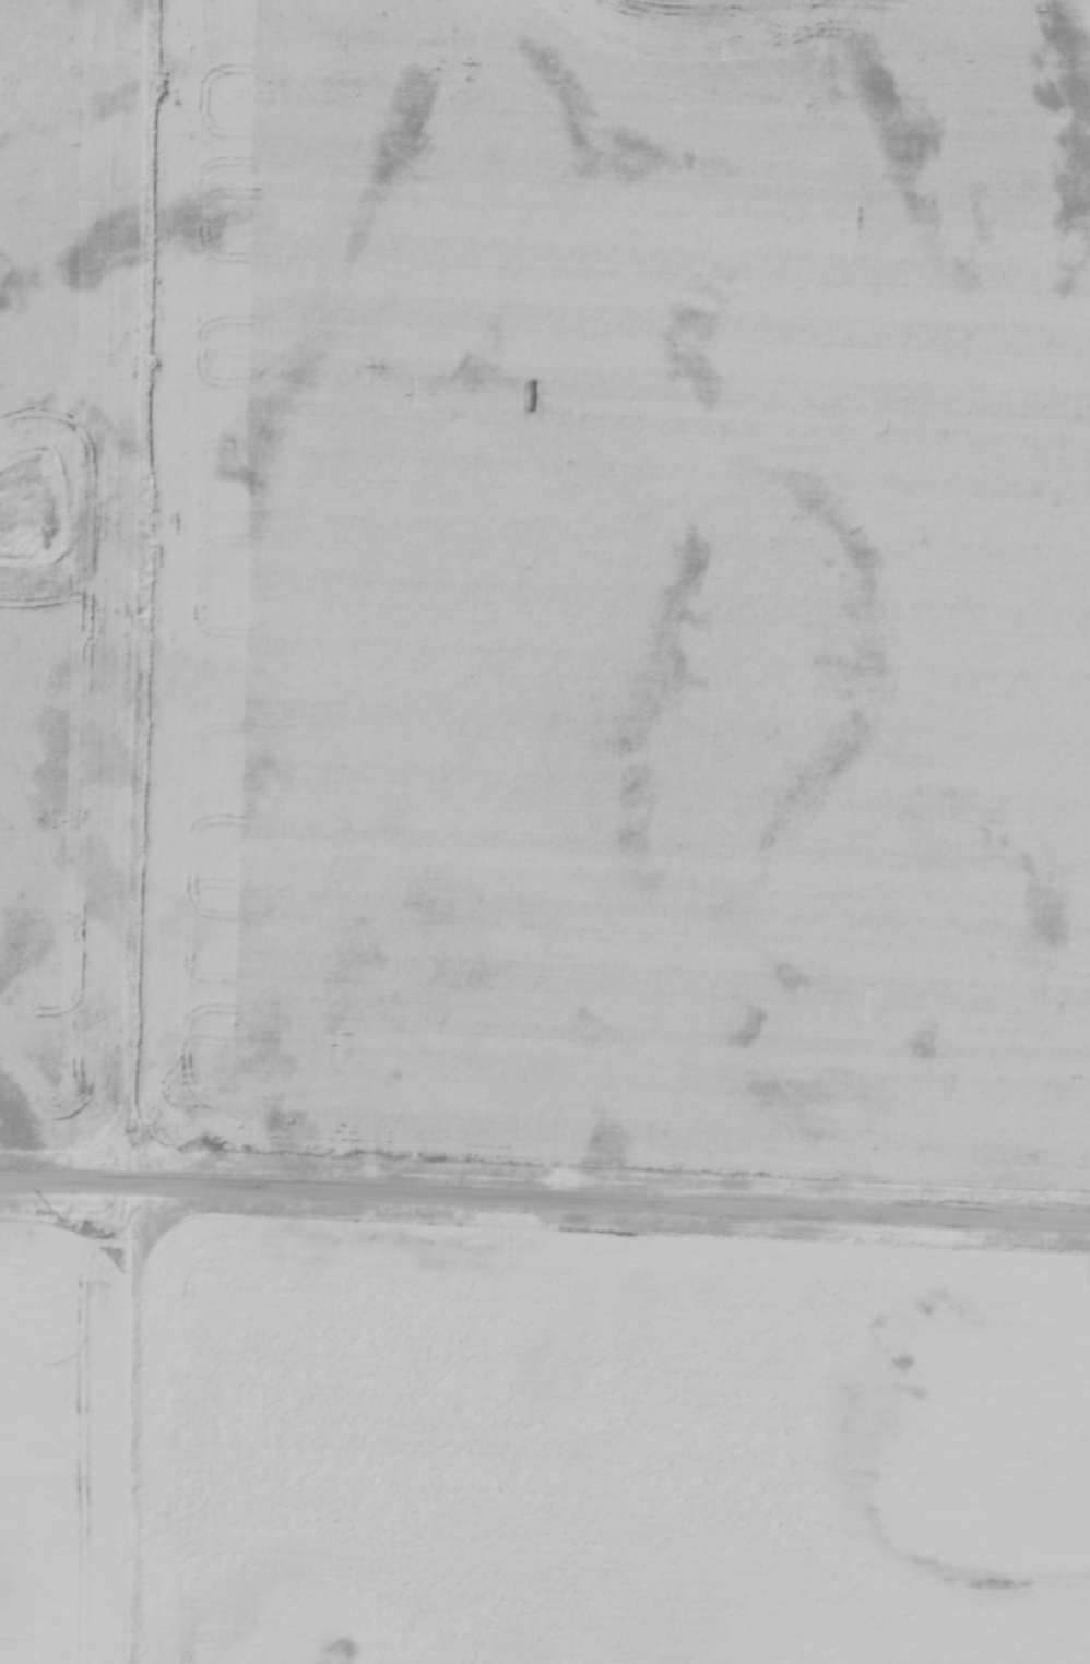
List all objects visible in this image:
road: (545, 1201)
crop: (607, 1447)

